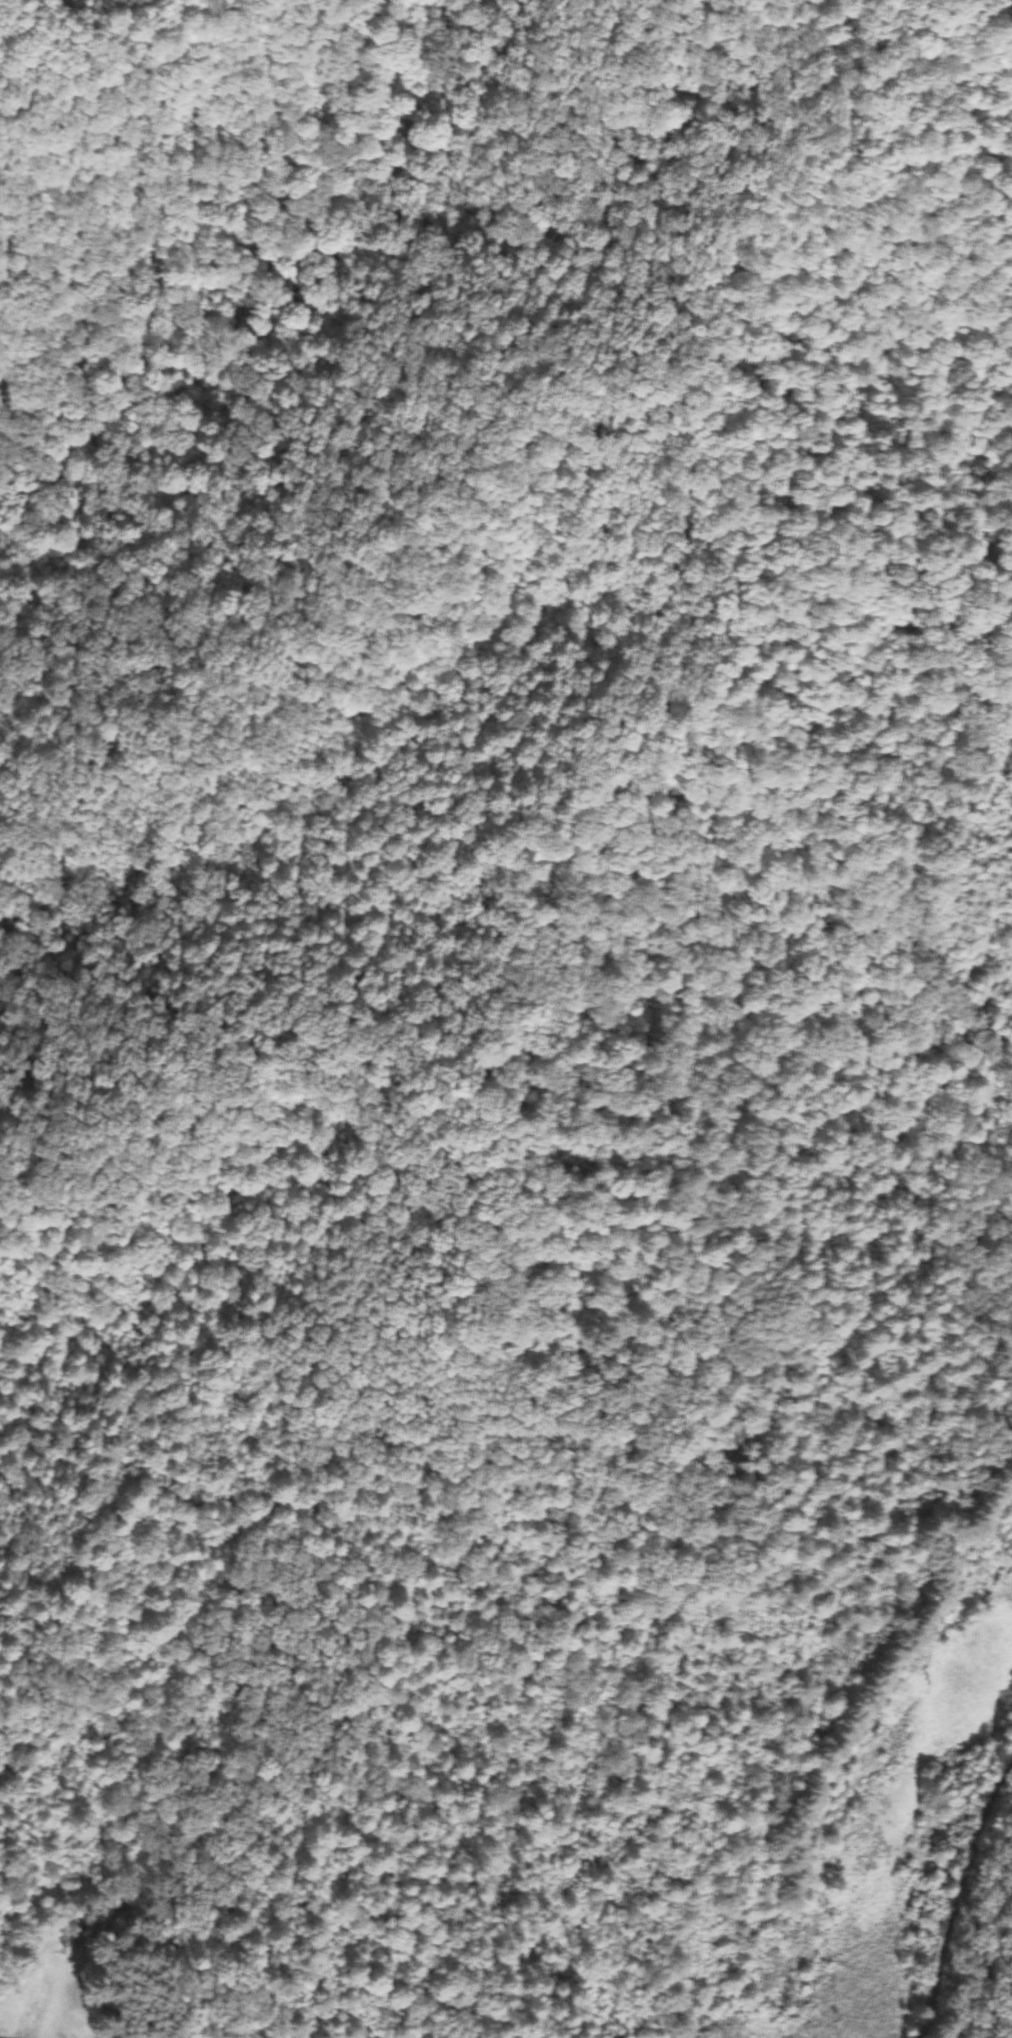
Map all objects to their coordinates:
road: (963, 1898)

